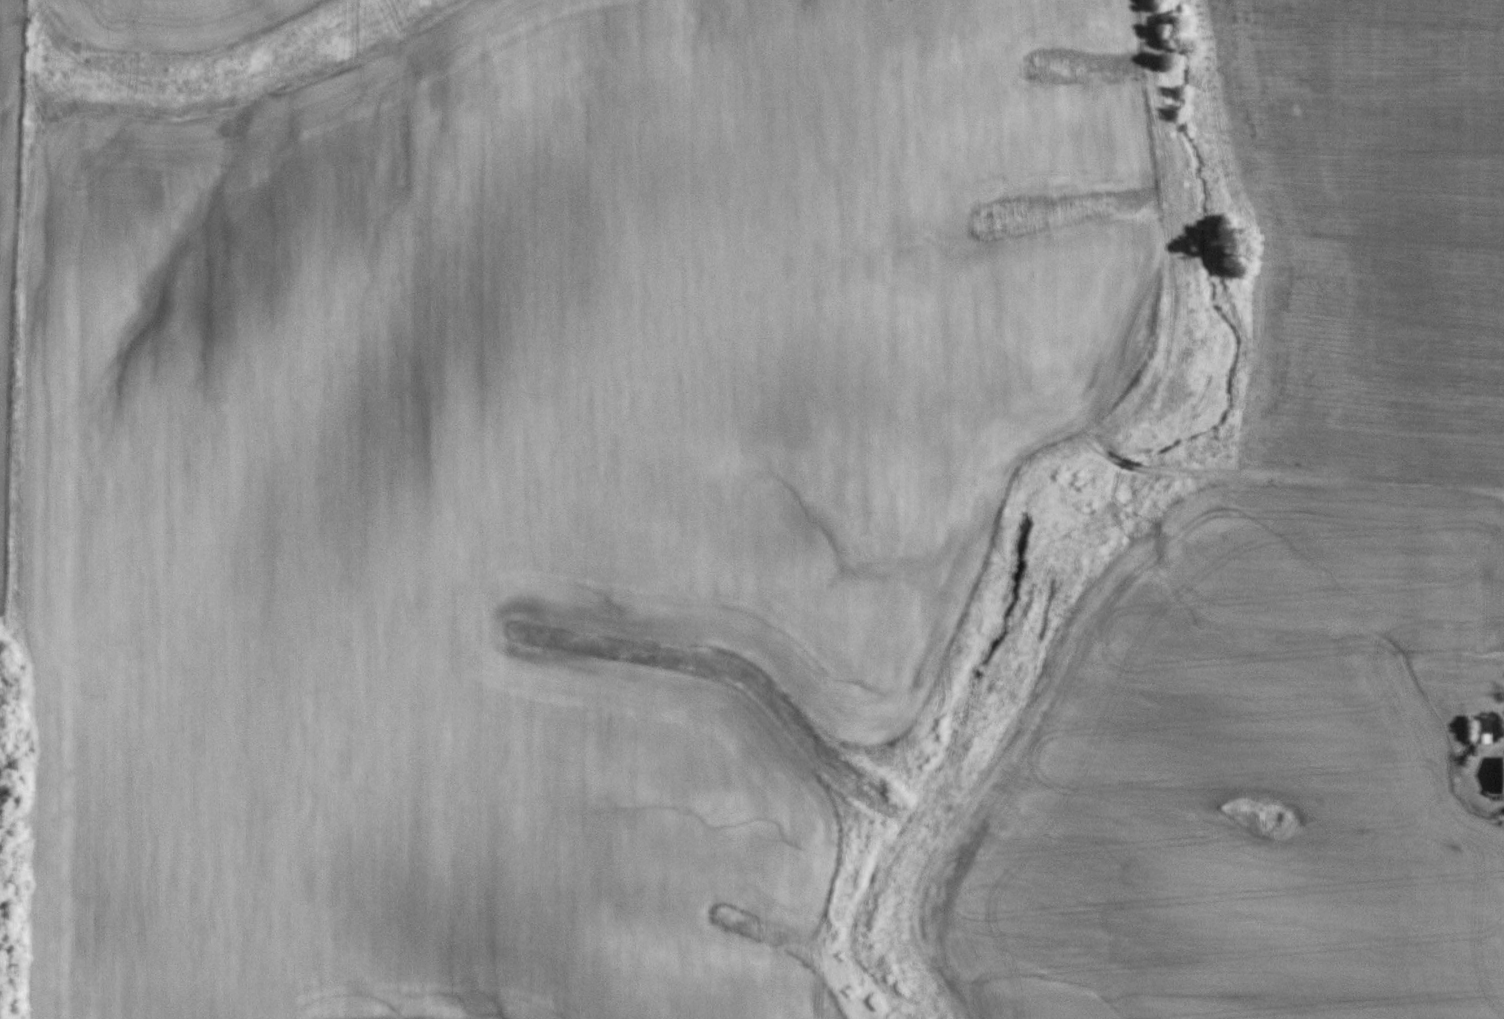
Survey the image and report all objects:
building: (1479, 729)
building: (1503, 777)

